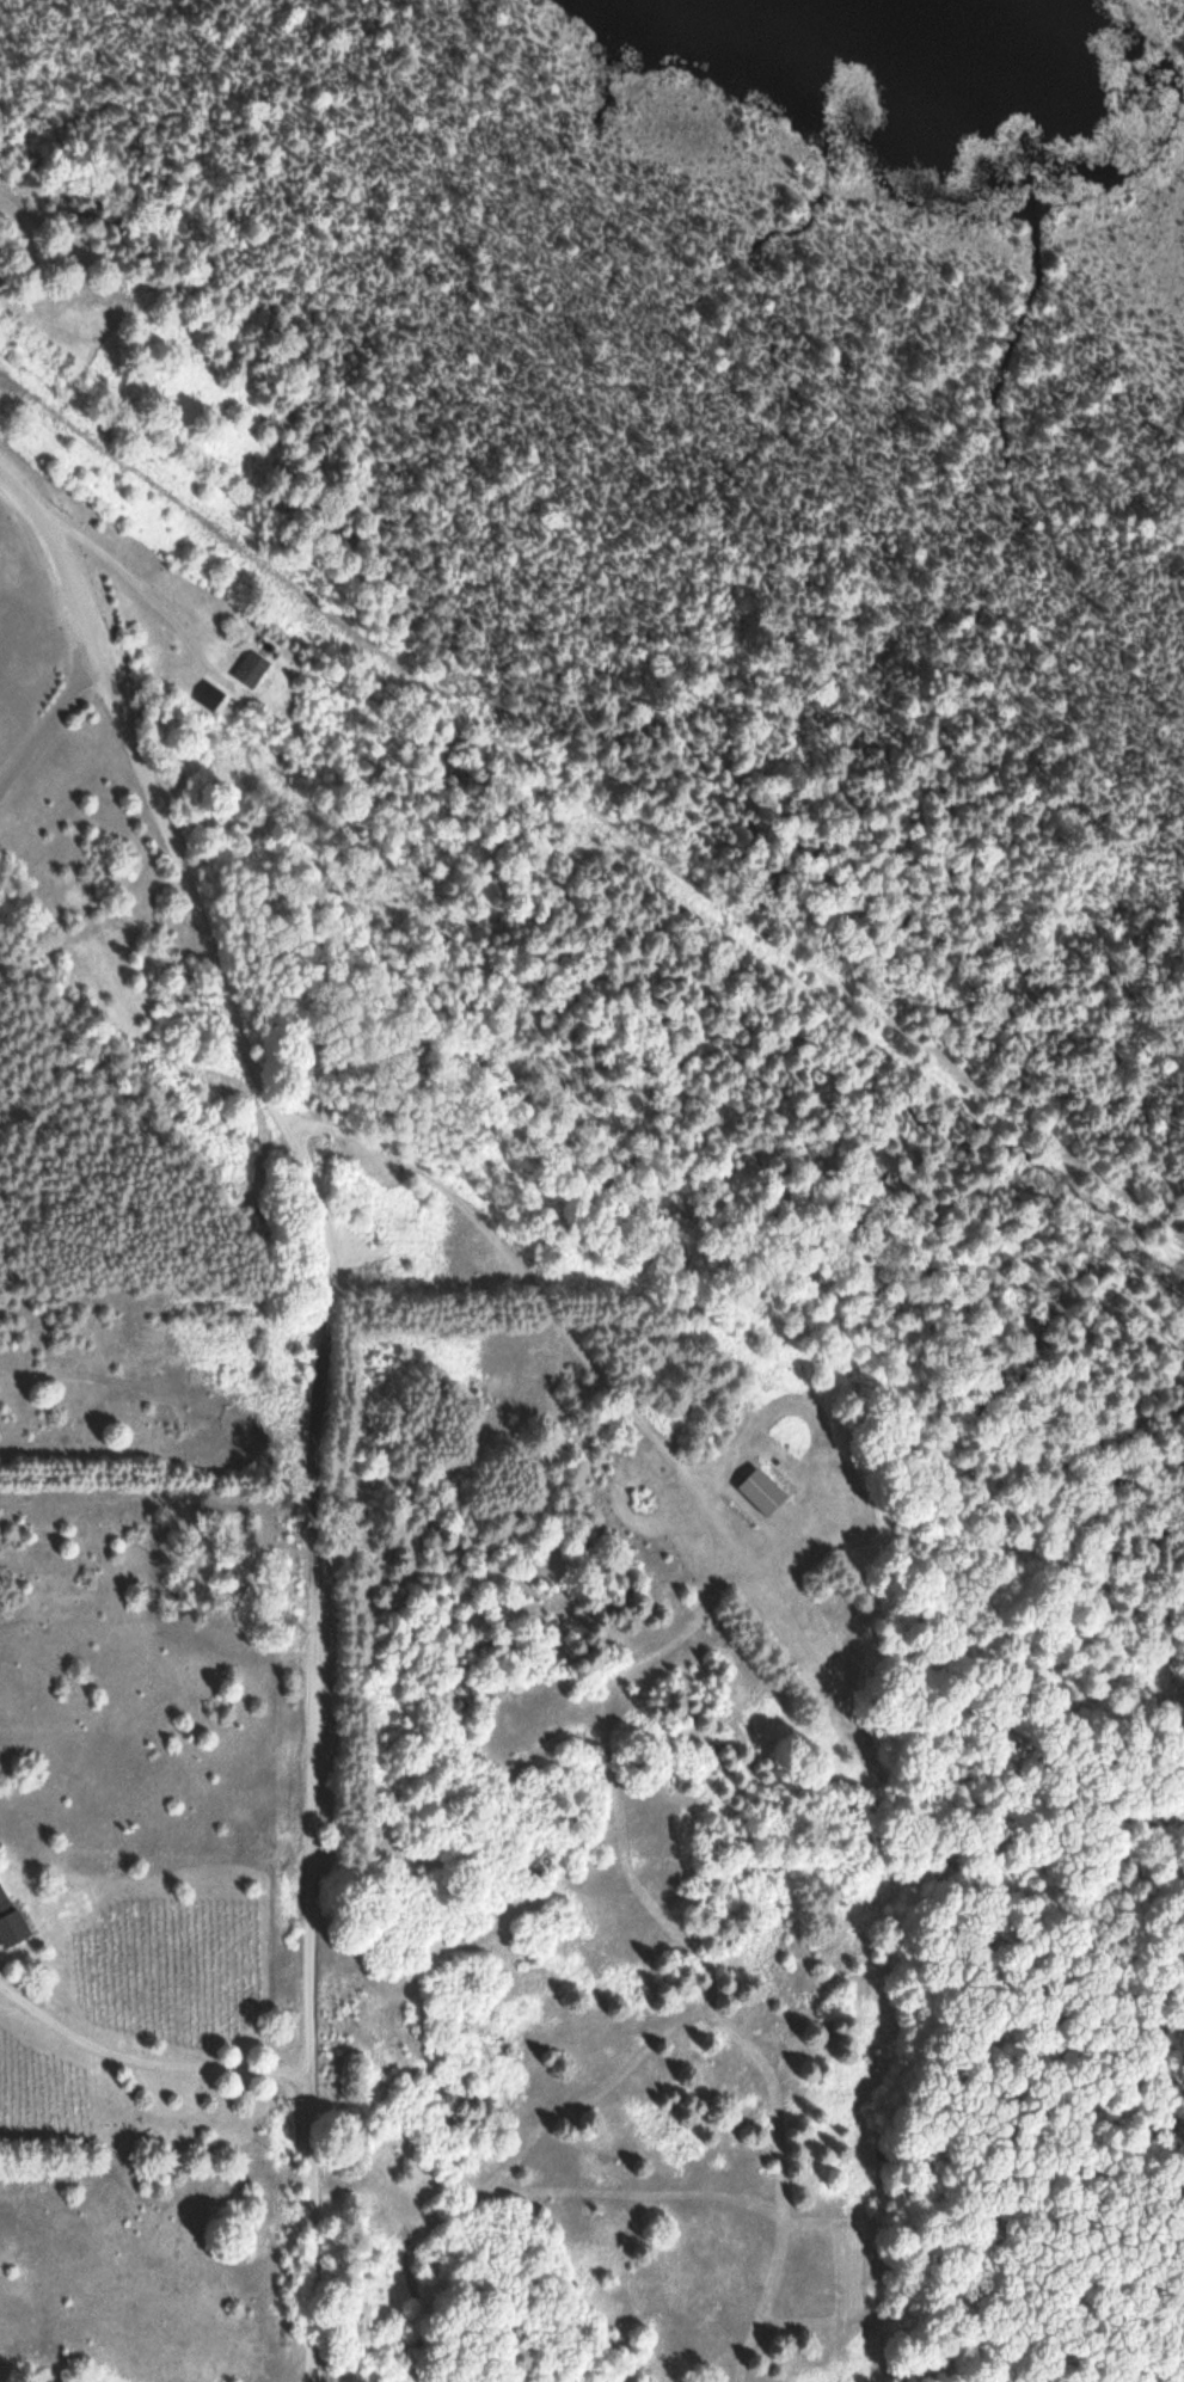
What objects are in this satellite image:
building: (252, 669)
building: (207, 701)
road: (315, 1392)
building: (763, 1492)
building: (10, 1922)

